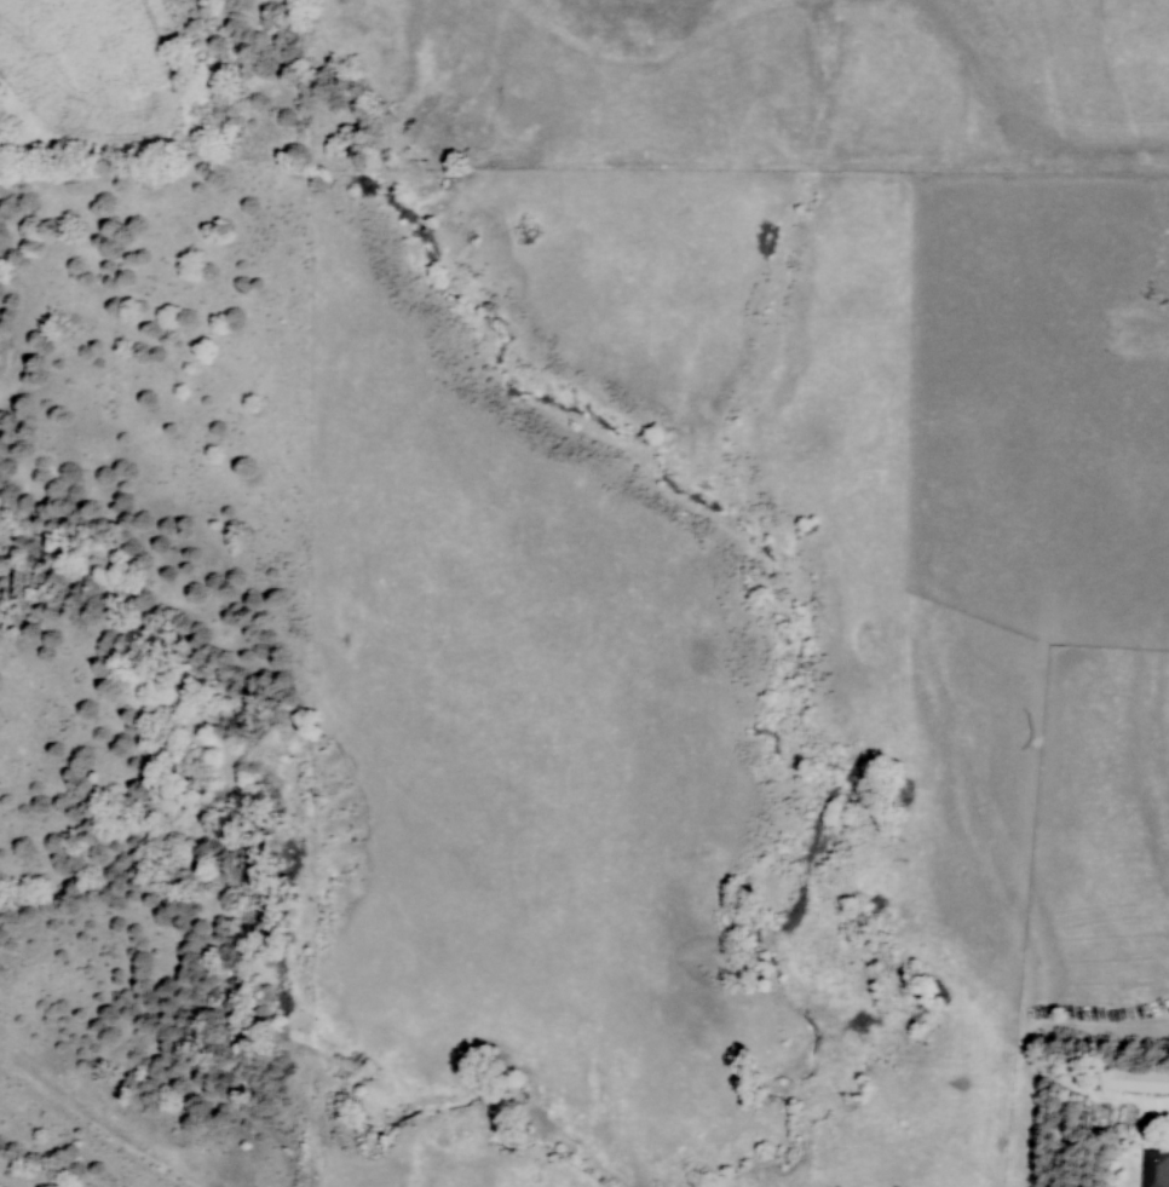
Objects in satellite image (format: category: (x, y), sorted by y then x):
building: (1135, 1081)
building: (1156, 1169)

